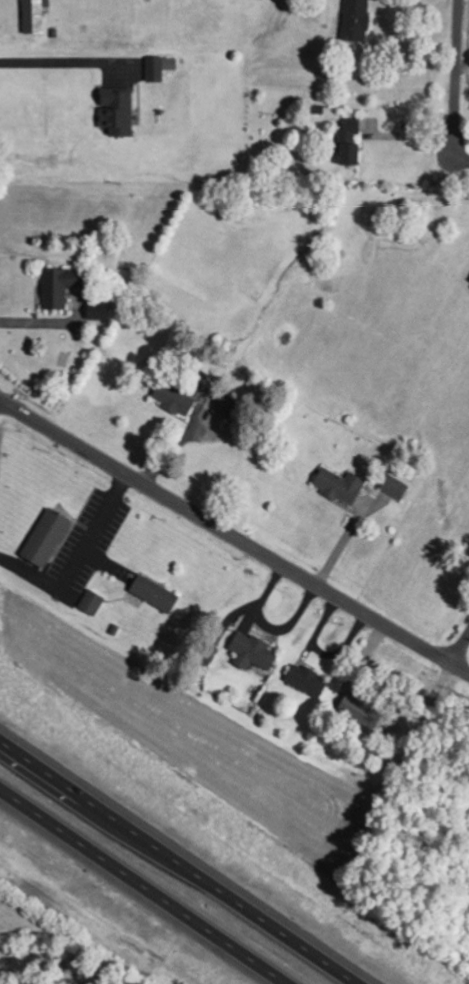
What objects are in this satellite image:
building: (36, 16)
building: (359, 19)
road: (455, 77)
building: (120, 112)
road: (407, 136)
building: (352, 143)
road: (459, 157)
building: (60, 288)
building: (100, 311)
building: (174, 402)
building: (342, 486)
building: (396, 488)
building: (49, 538)
road: (234, 540)
building: (157, 594)
building: (92, 603)
road: (459, 650)
building: (255, 653)
building: (308, 681)
road: (179, 861)
road: (146, 884)

